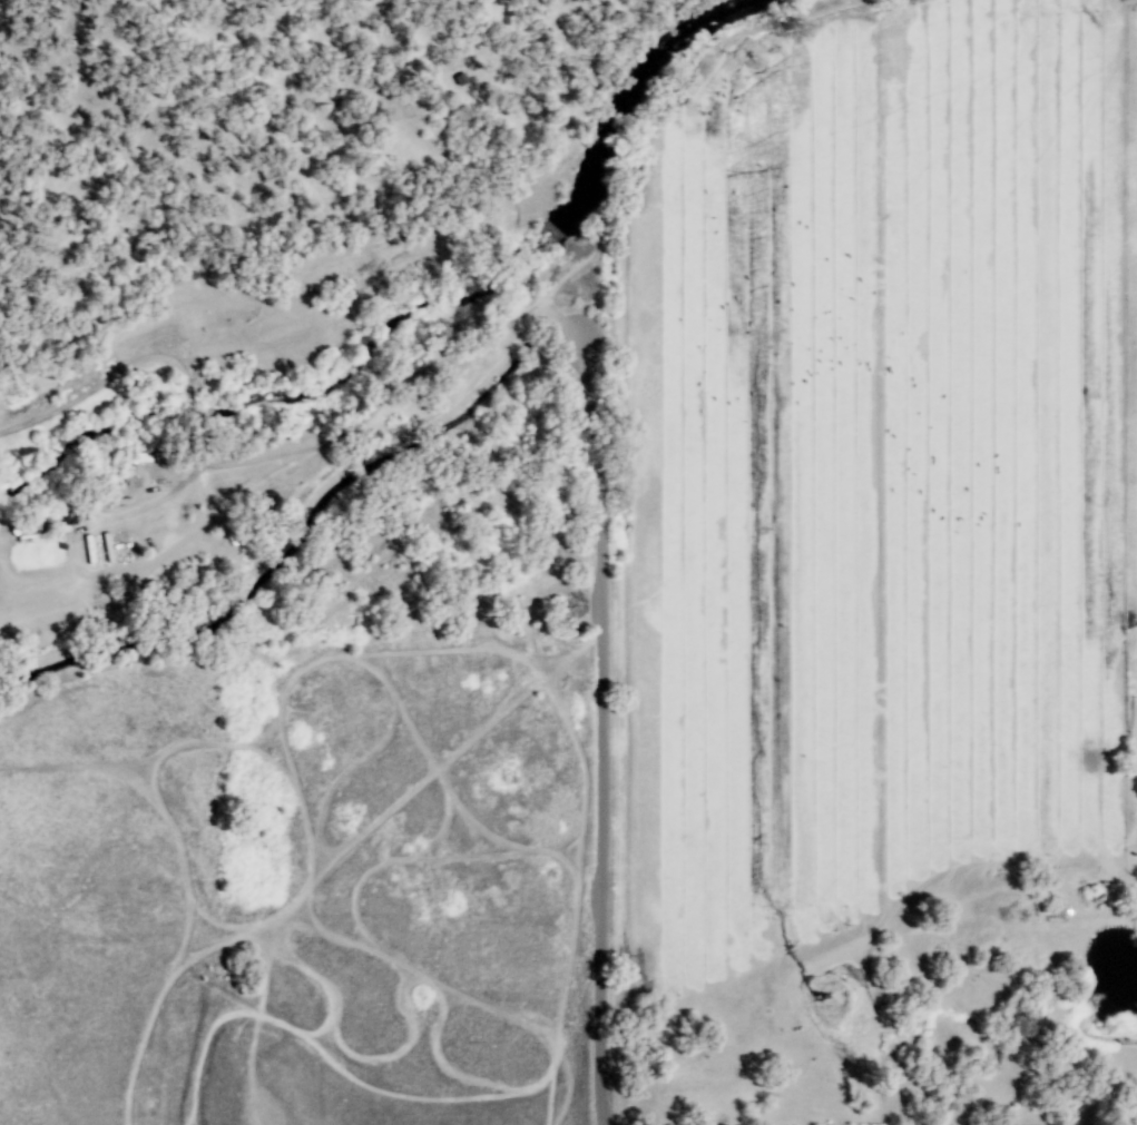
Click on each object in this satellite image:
dam: (559, 229)

